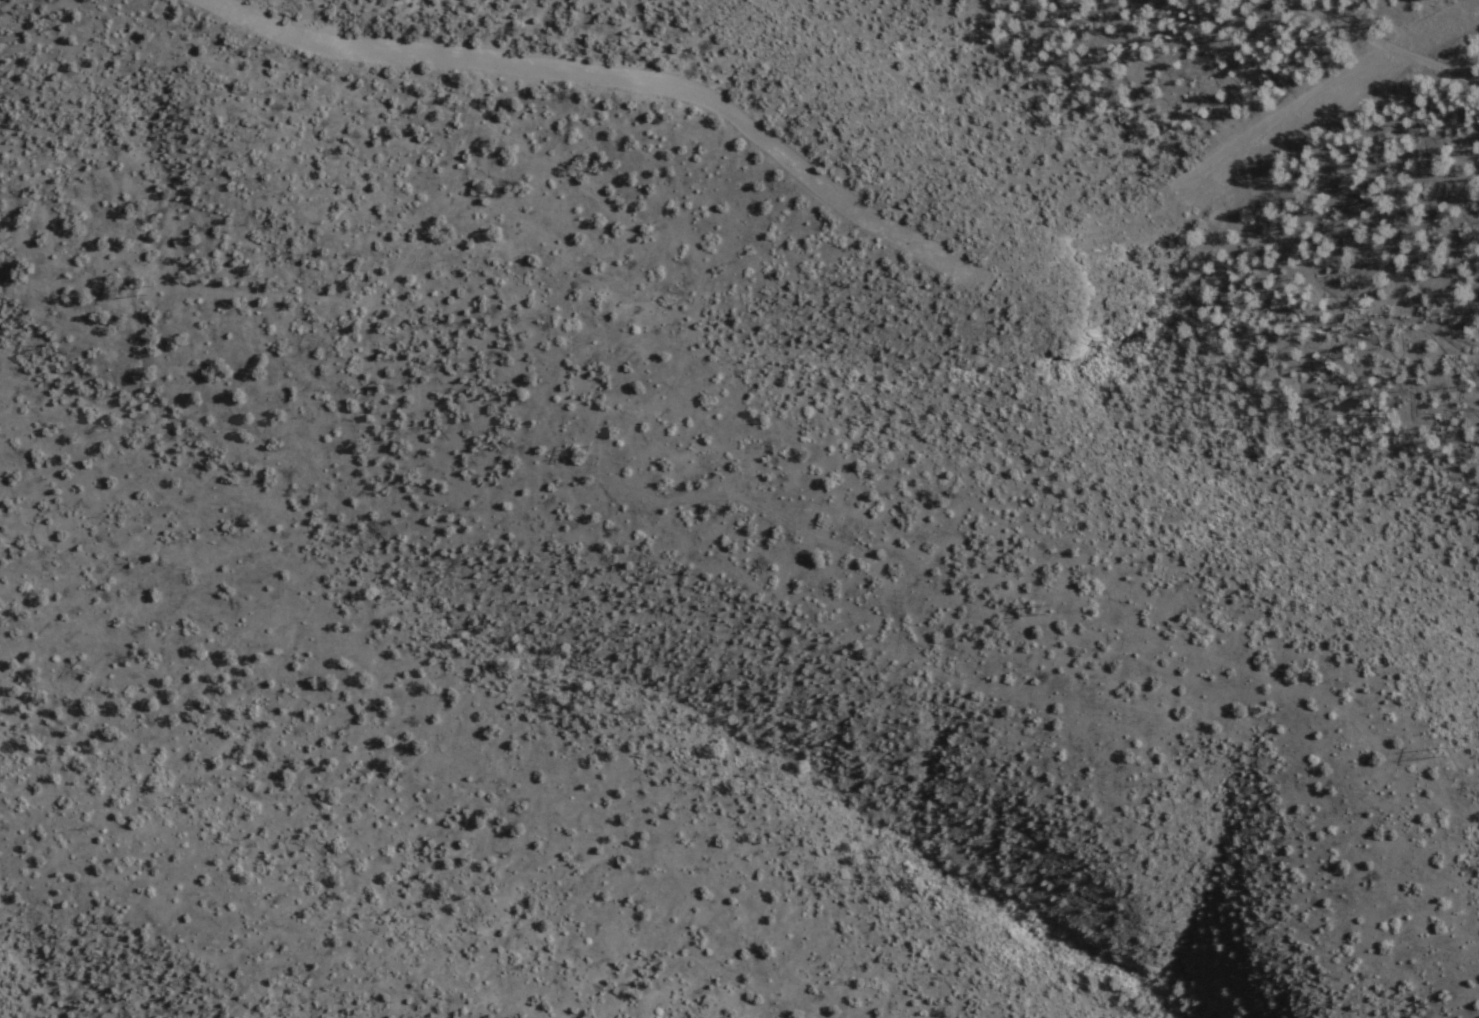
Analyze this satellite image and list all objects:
road: (1377, 46)
road: (620, 77)

